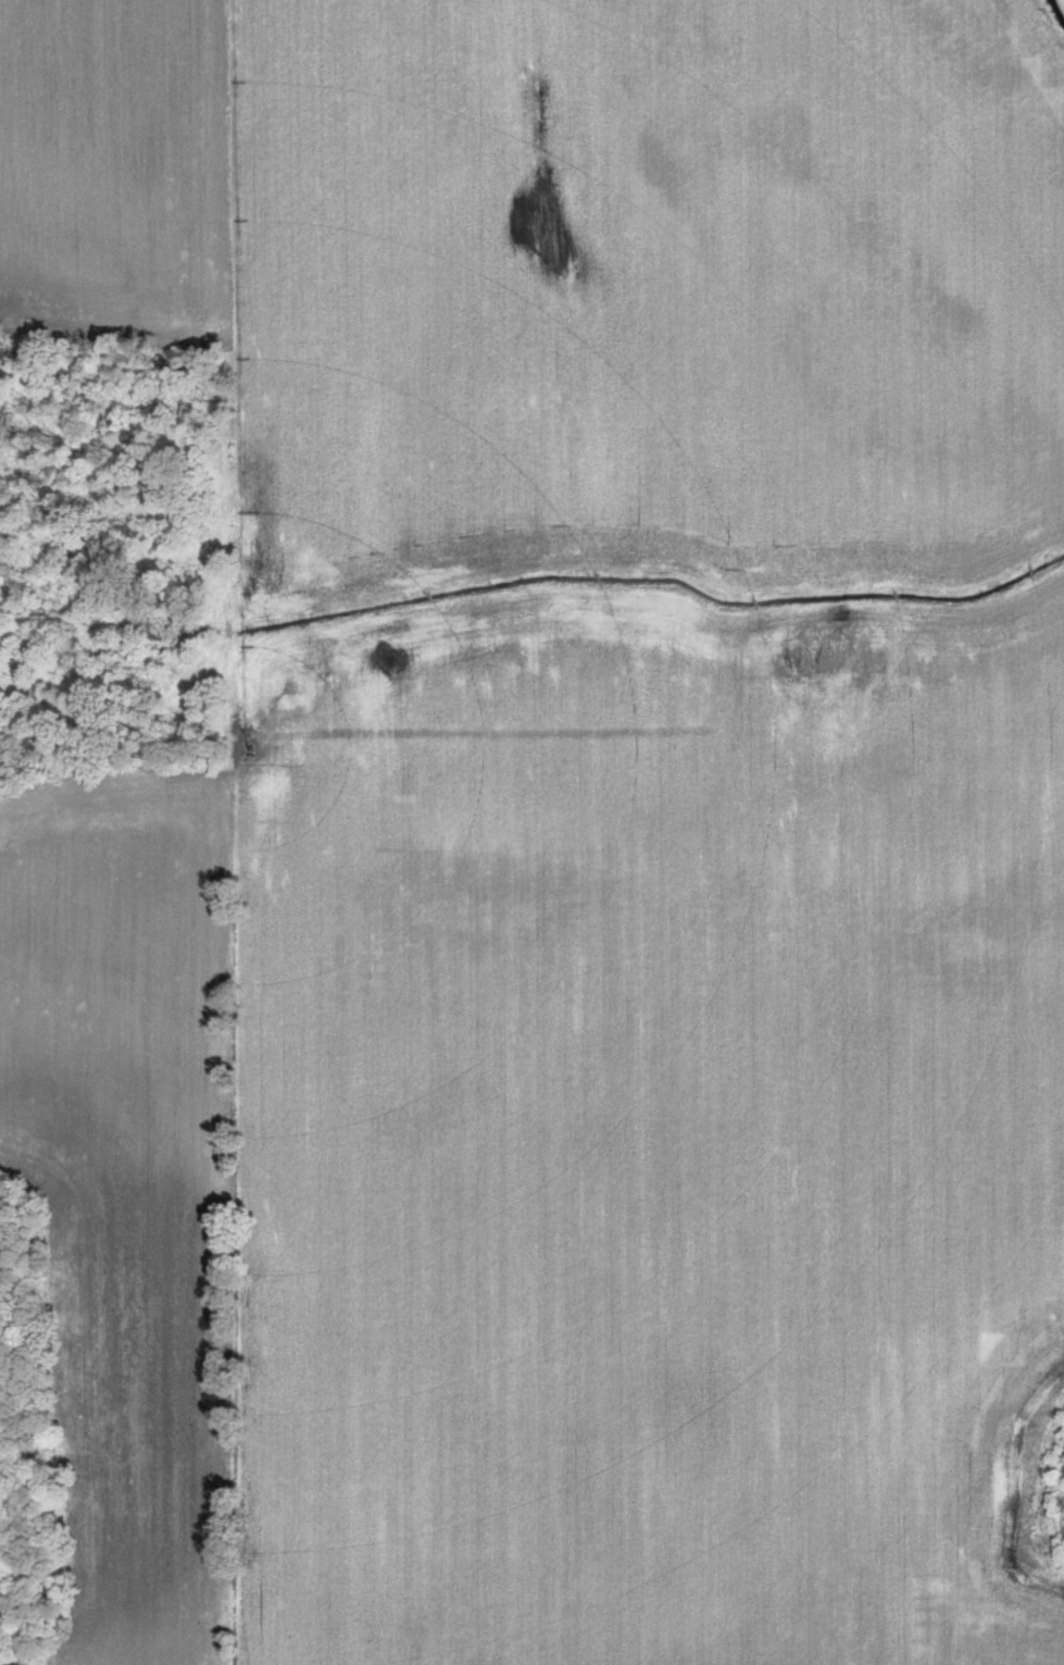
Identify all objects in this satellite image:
crop: (572, 274)
crop: (656, 1136)
crop: (139, 1183)

